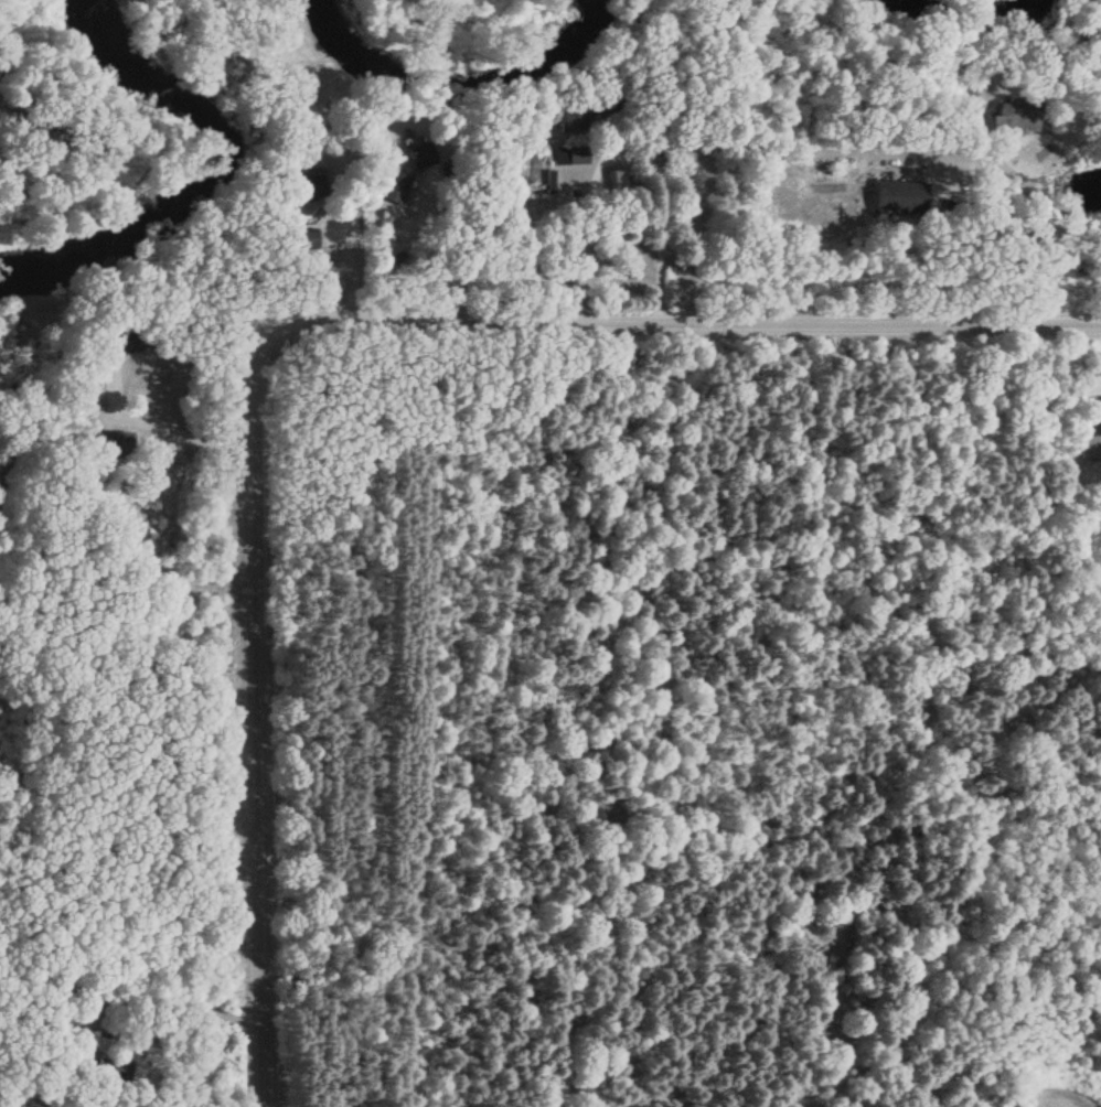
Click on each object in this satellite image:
river: (955, 22)
river: (462, 88)
building: (1017, 116)
building: (580, 117)
building: (418, 152)
building: (570, 157)
river: (211, 173)
building: (620, 183)
building: (307, 186)
building: (392, 186)
building: (899, 197)
building: (301, 240)
road: (677, 324)
building: (126, 338)
road: (159, 429)
building: (113, 451)
road: (253, 727)
building: (114, 1072)

